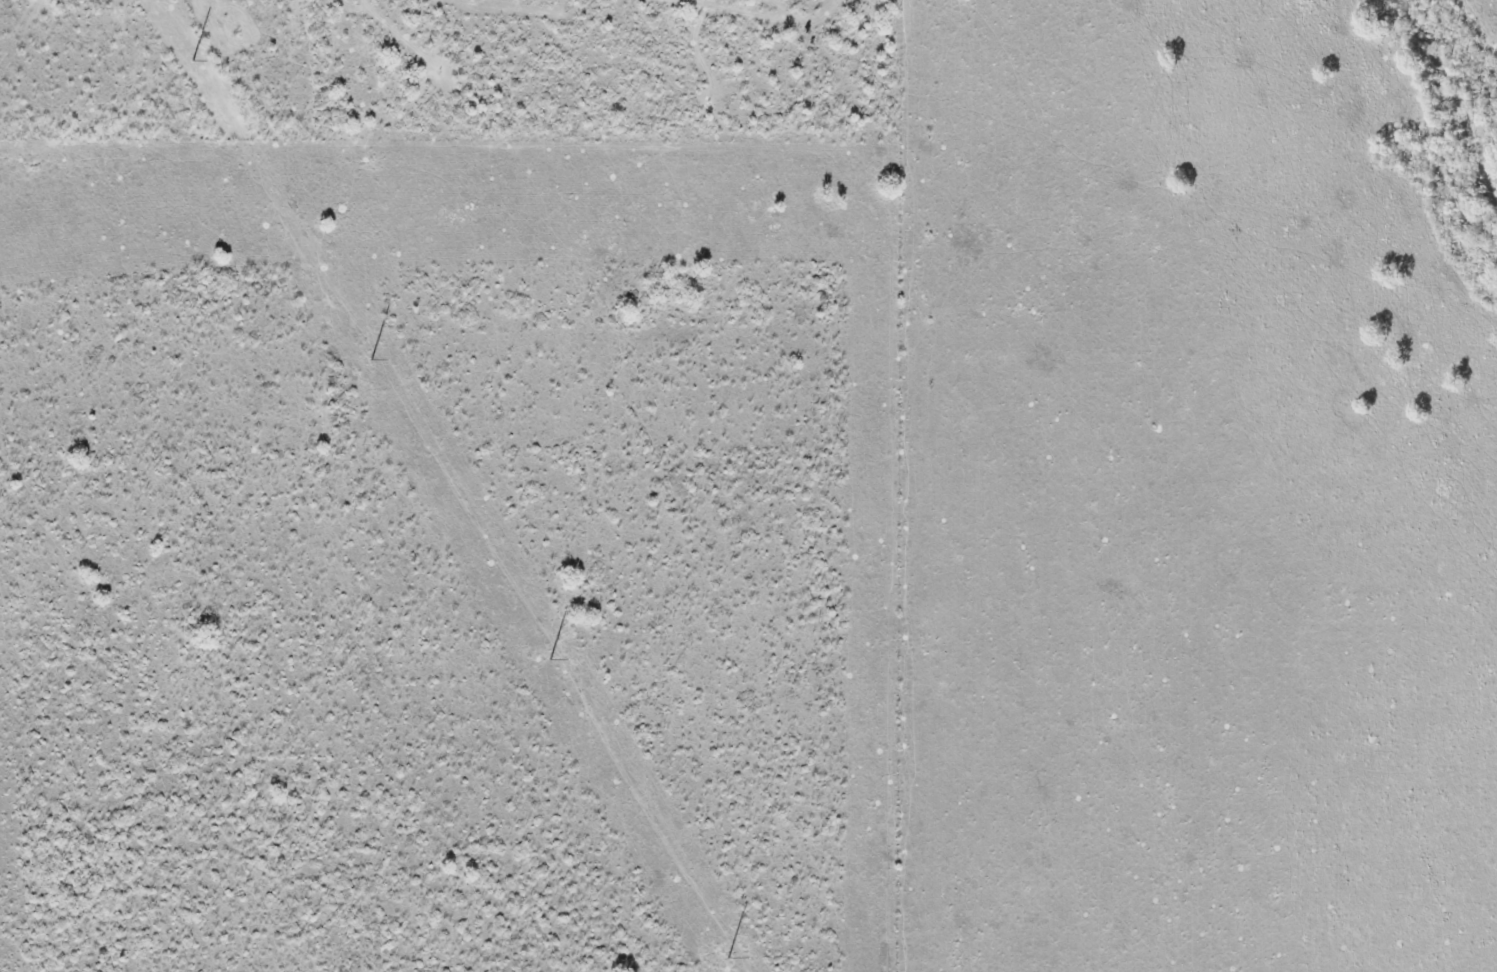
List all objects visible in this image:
power tower: (193, 60)
power tower: (371, 360)
power tower: (550, 660)
power tower: (727, 957)

